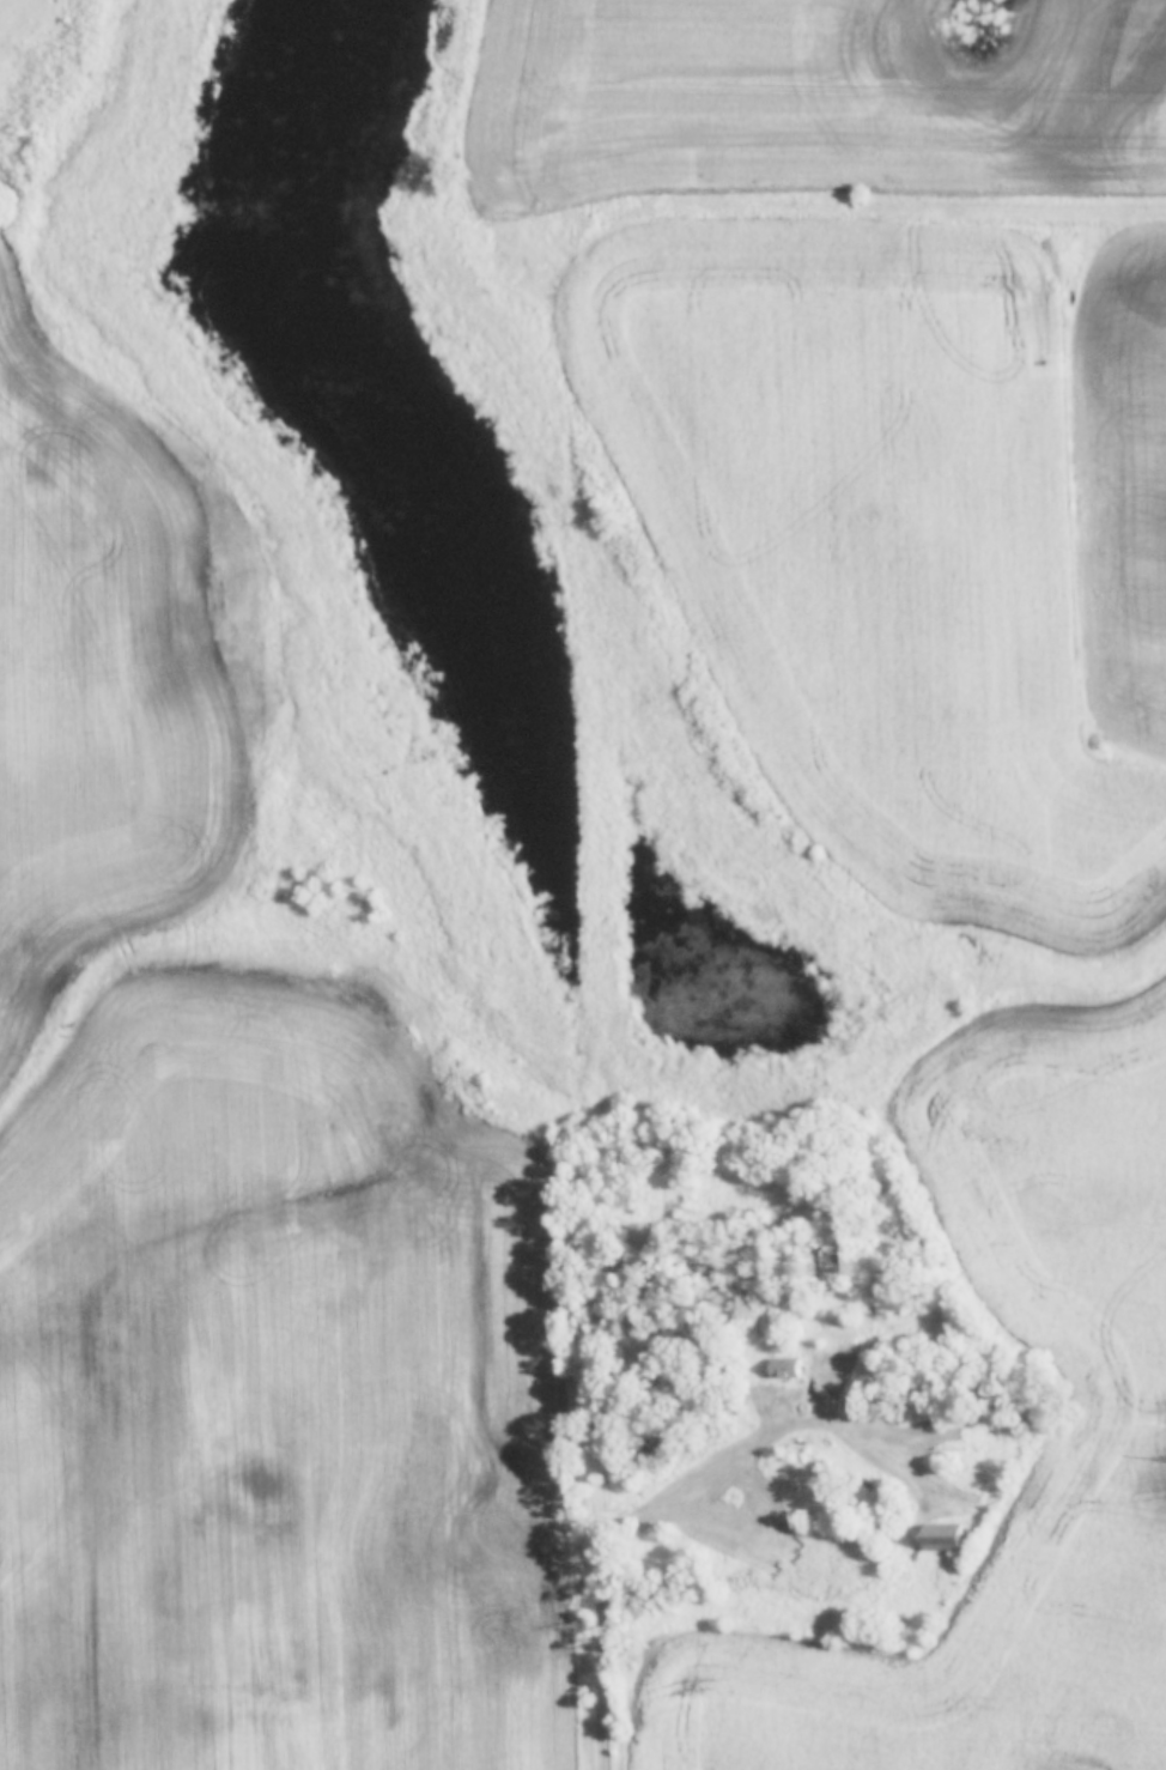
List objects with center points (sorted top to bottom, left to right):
building: (785, 1369)
building: (943, 1538)
road: (625, 1548)

